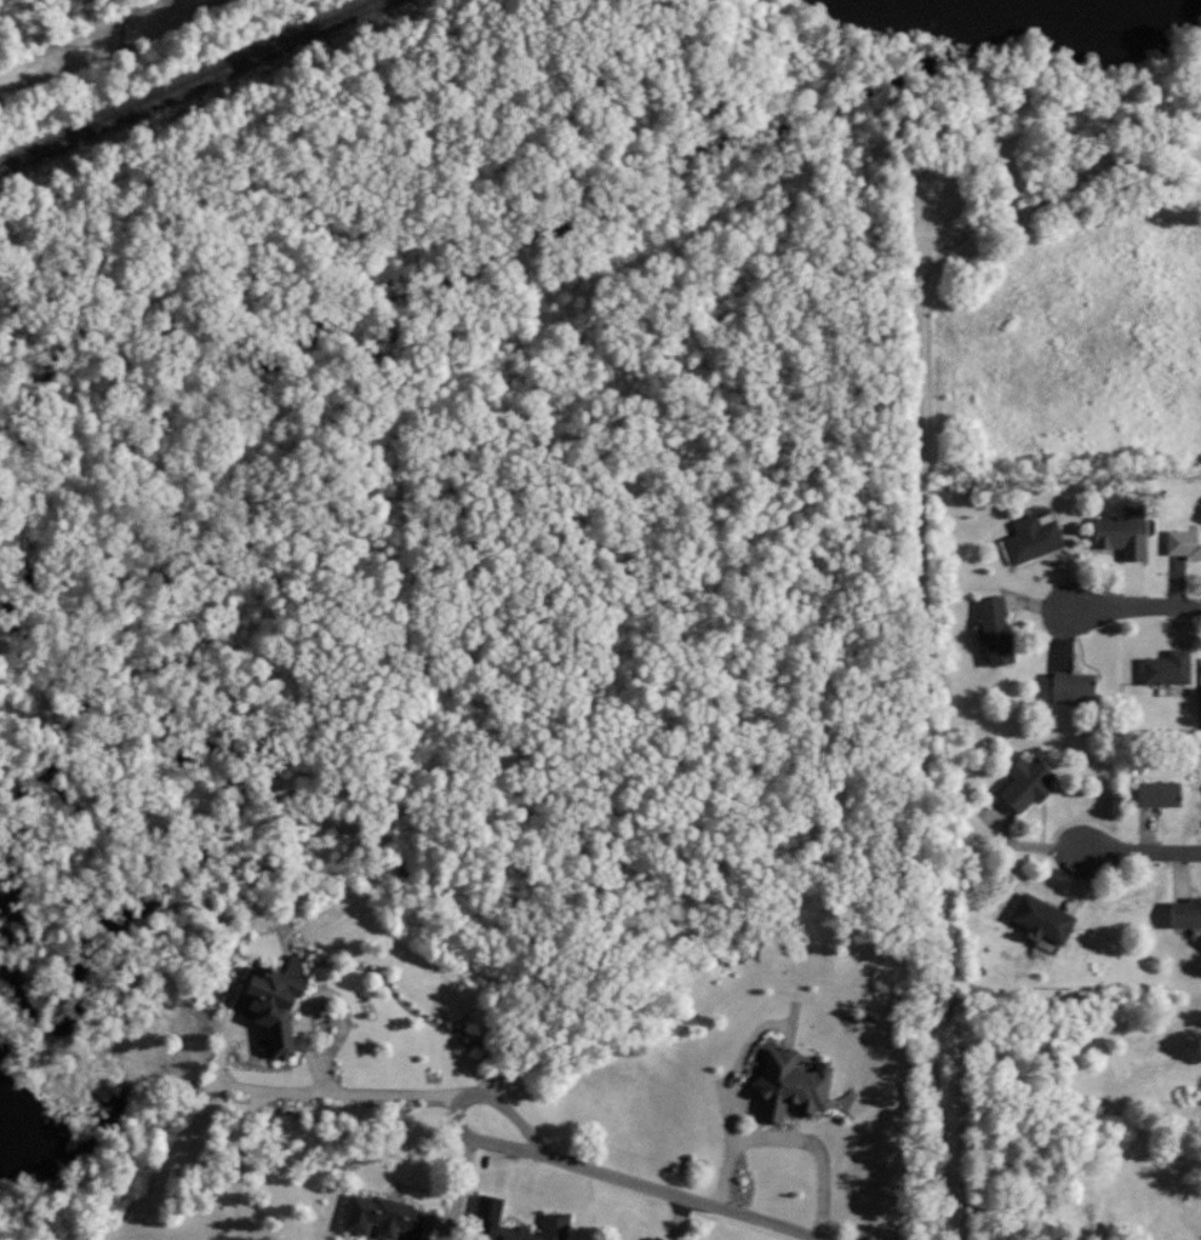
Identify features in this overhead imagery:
railway: (190, 84)
building: (1120, 536)
building: (1031, 538)
building: (1183, 544)
road: (920, 596)
road: (1134, 608)
building: (995, 632)
building: (1166, 668)
building: (1071, 687)
building: (1025, 784)
building: (1156, 795)
road: (1140, 851)
building: (1184, 914)
building: (1042, 919)
road: (315, 996)
building: (273, 1004)
building: (789, 1086)
road: (287, 1092)
road: (458, 1103)
road: (787, 1135)
road: (680, 1196)
building: (485, 1218)
building: (385, 1219)

